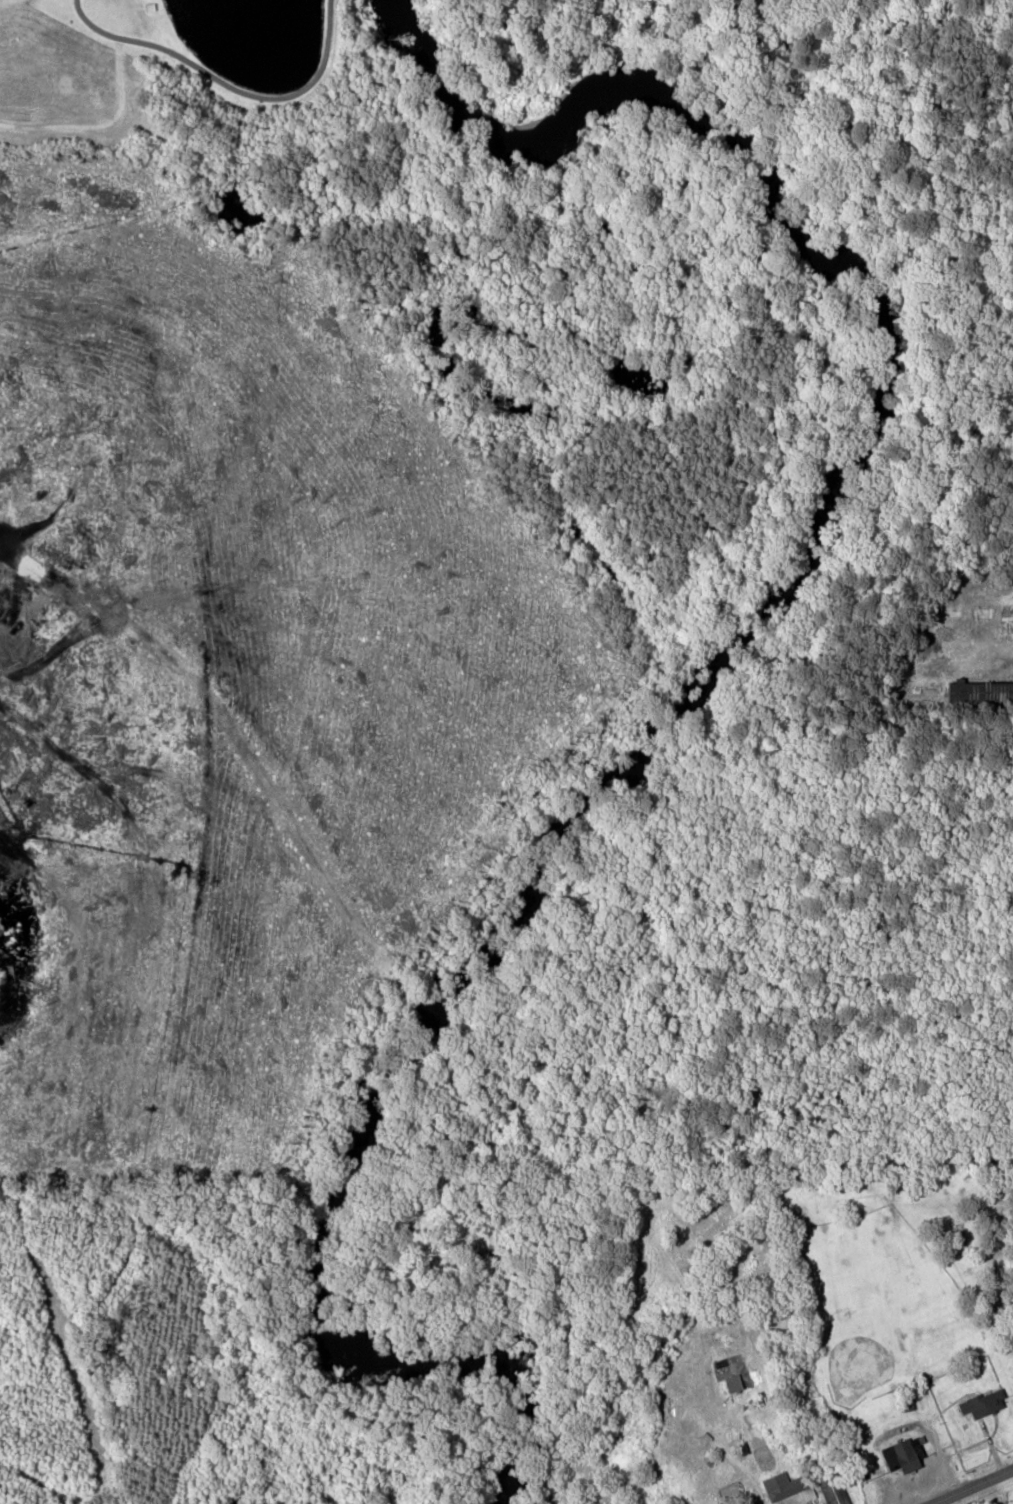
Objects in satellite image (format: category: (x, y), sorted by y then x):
park: (168, 80)
road: (225, 85)
river: (700, 691)
building: (736, 1384)
building: (988, 1404)
building: (907, 1456)
road: (970, 1486)
building: (791, 1487)
building: (836, 1491)

